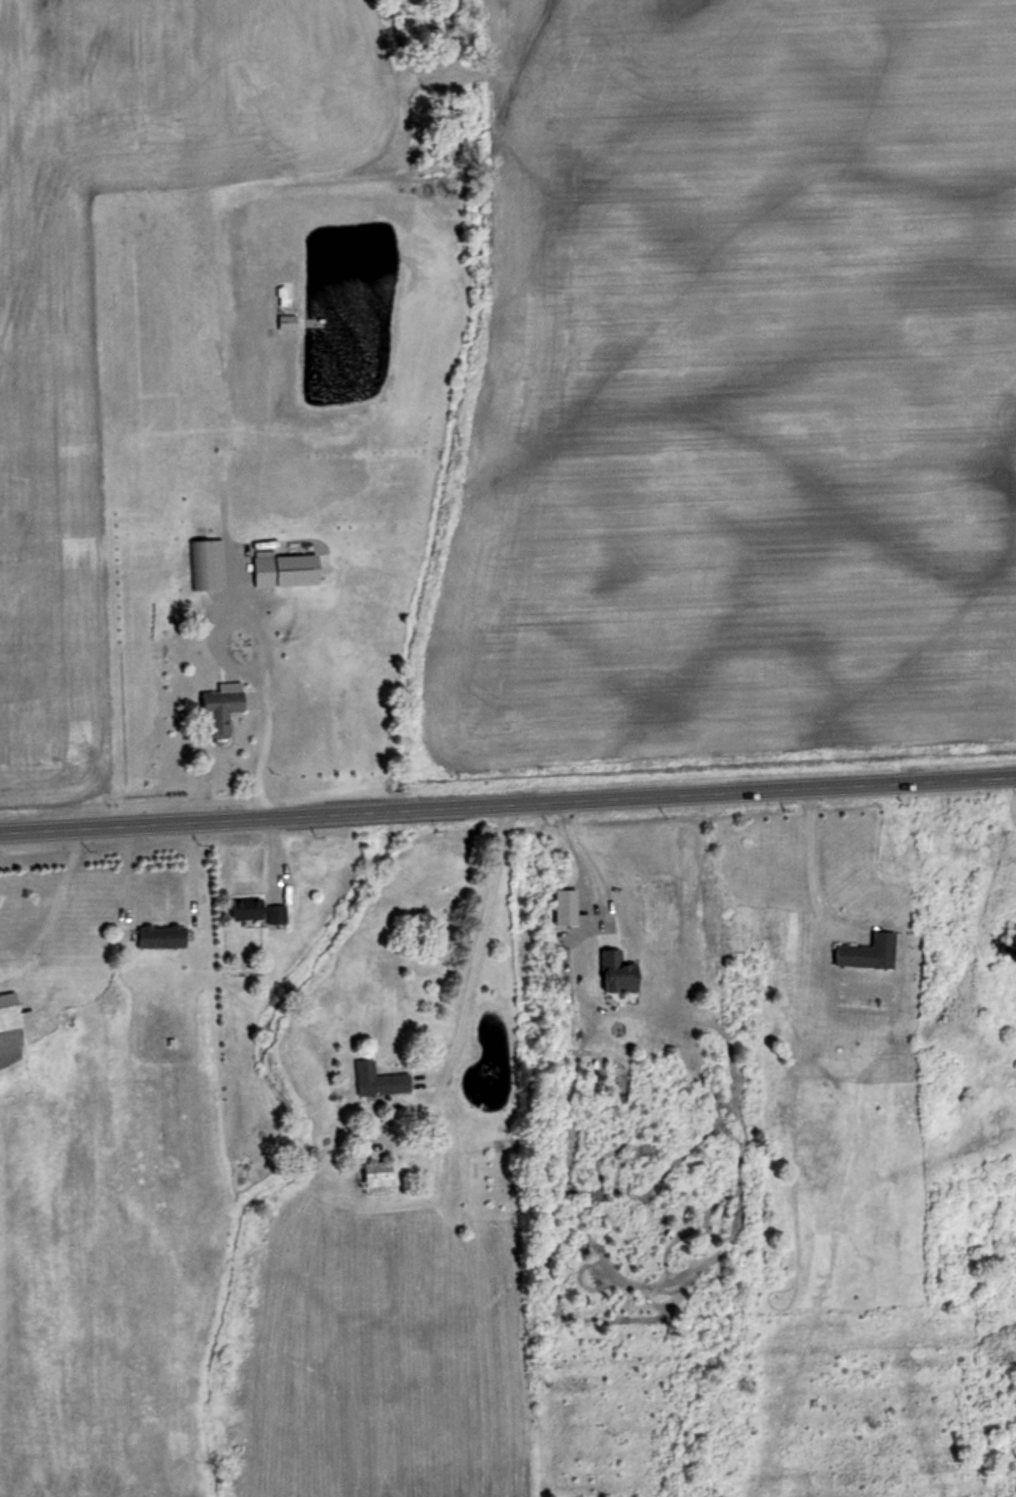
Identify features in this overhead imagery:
building: (202, 565)
building: (263, 566)
building: (314, 572)
building: (223, 710)
road: (262, 727)
road: (507, 802)
road: (587, 859)
road: (811, 861)
building: (243, 907)
building: (270, 914)
building: (165, 936)
road: (475, 938)
building: (1006, 947)
building: (862, 953)
building: (611, 973)
building: (11, 1012)
building: (375, 1080)
building: (373, 1177)

